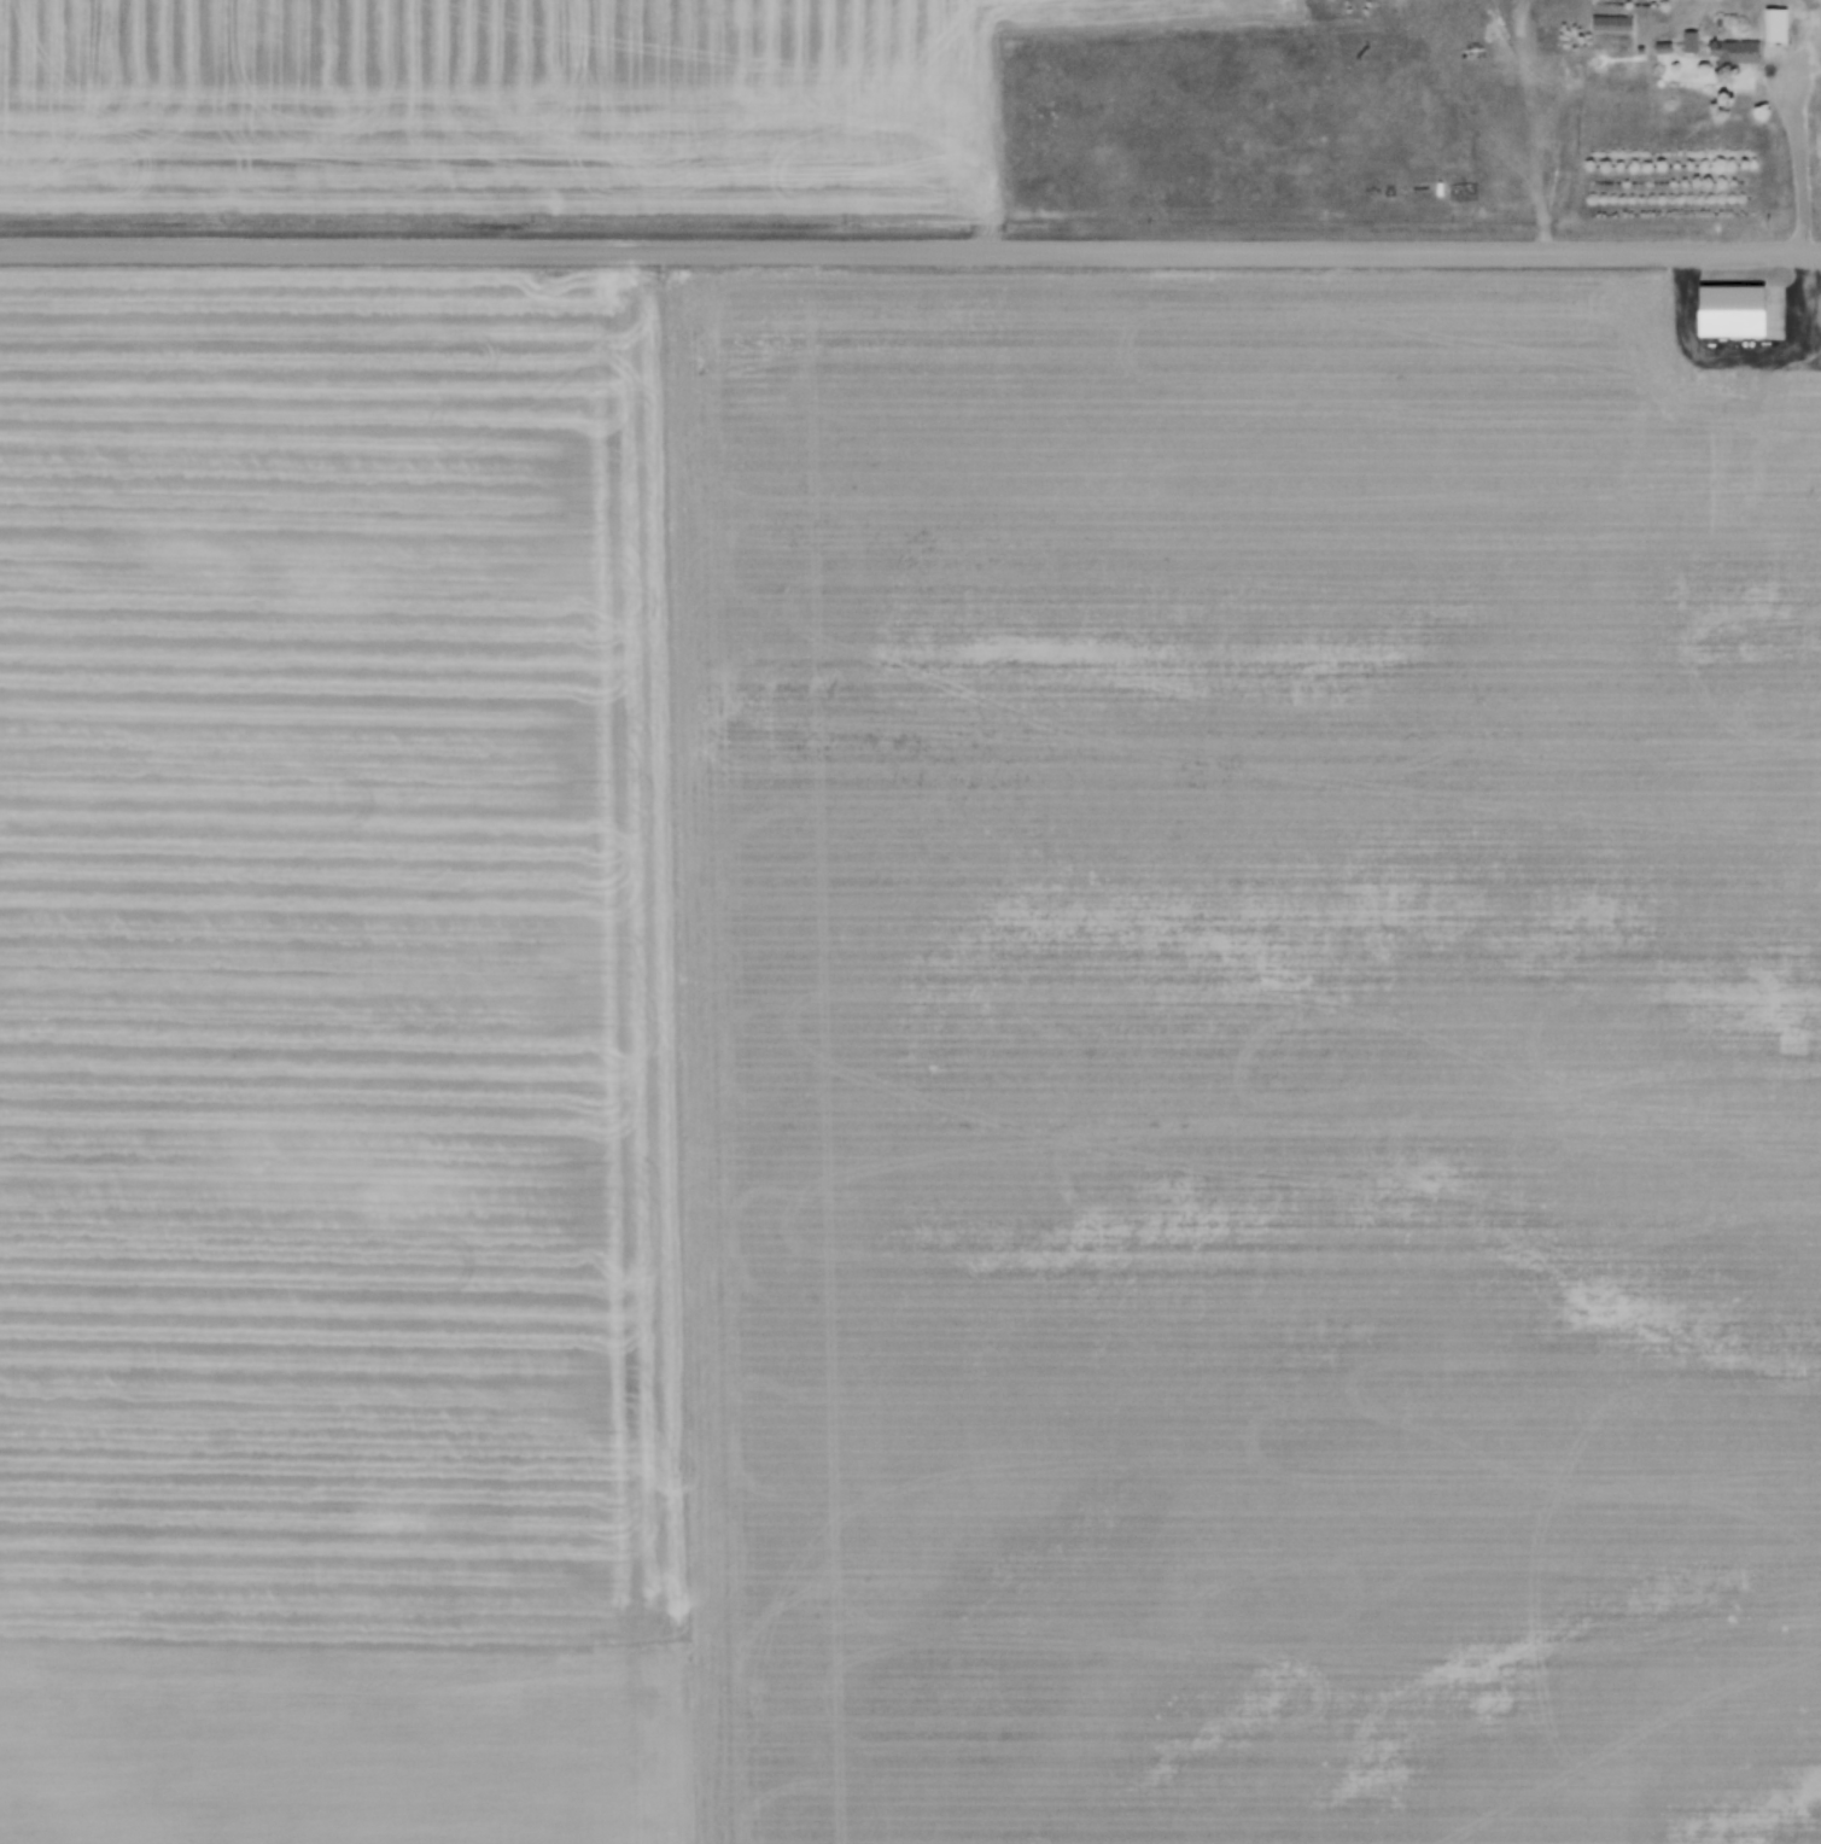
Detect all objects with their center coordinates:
building: (1611, 24)
building: (1778, 28)
building: (1689, 41)
building: (1664, 49)
building: (1732, 53)
crop: (520, 106)
road: (1798, 205)
road: (910, 252)
building: (1734, 303)
building: (1712, 329)
silo: (1712, 329)
building: (1737, 329)
silo: (1737, 329)
building: (1759, 329)
silo: (1759, 329)
building: (1744, 385)
silo: (1744, 385)
building: (1770, 386)
silo: (1770, 386)
crop: (905, 1061)

